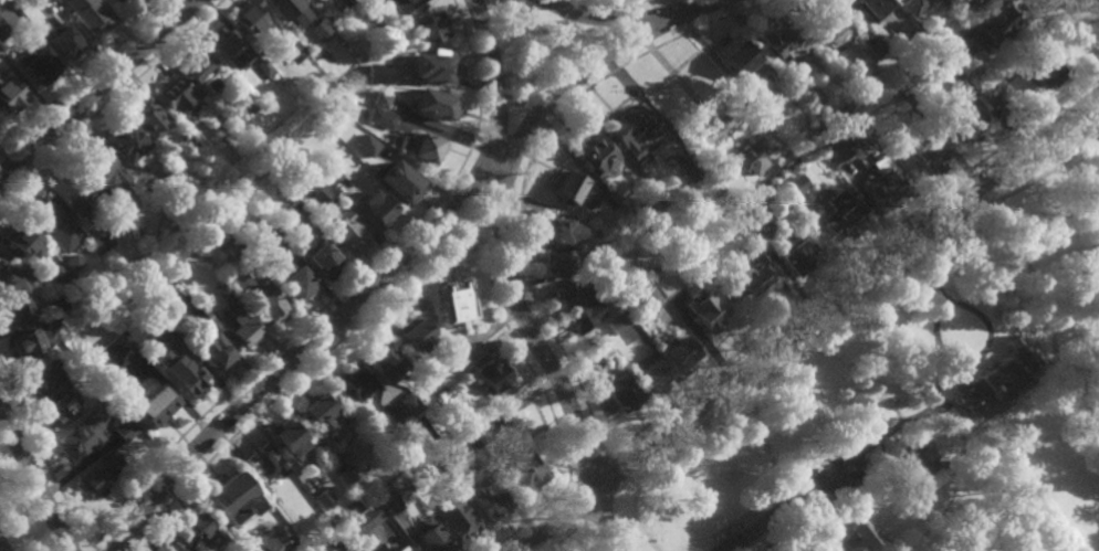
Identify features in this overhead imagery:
building: (954, 0)
building: (41, 1)
building: (130, 2)
road: (625, 2)
building: (966, 2)
road: (1095, 3)
building: (402, 4)
building: (374, 6)
road: (636, 7)
building: (912, 7)
building: (868, 8)
building: (290, 10)
building: (87, 14)
road: (615, 20)
building: (827, 22)
building: (253, 23)
road: (1077, 24)
building: (428, 28)
road: (638, 28)
building: (994, 28)
building: (3, 29)
building: (321, 29)
building: (904, 30)
building: (373, 38)
building: (784, 40)
building: (64, 42)
building: (226, 46)
road: (649, 46)
building: (876, 49)
building: (951, 50)
building: (969, 51)
building: (1, 52)
building: (294, 52)
building: (736, 57)
building: (35, 64)
building: (431, 66)
building: (265, 67)
building: (1040, 67)
building: (935, 71)
building: (200, 73)
building: (377, 73)
road: (84, 76)
road: (679, 82)
road: (96, 88)
building: (985, 92)
building: (10, 95)
building: (176, 96)
building: (900, 96)
building: (812, 97)
building: (381, 99)
road: (111, 102)
building: (755, 102)
building: (247, 103)
building: (432, 104)
building: (1045, 104)
building: (381, 117)
building: (150, 118)
building: (216, 118)
building: (964, 124)
building: (631, 129)
building: (123, 140)
building: (188, 142)
building: (698, 144)
building: (375, 146)
building: (419, 147)
building: (836, 149)
building: (593, 152)
building: (924, 152)
building: (747, 158)
building: (787, 161)
road: (527, 166)
building: (690, 168)
building: (103, 169)
building: (254, 174)
building: (332, 176)
road: (969, 184)
building: (400, 186)
building: (883, 186)
building: (793, 187)
road: (452, 188)
building: (564, 188)
building: (758, 188)
building: (71, 191)
road: (462, 199)
building: (119, 205)
building: (376, 209)
building: (641, 212)
building: (300, 215)
road: (488, 215)
road: (501, 215)
road: (514, 215)
building: (751, 218)
building: (841, 218)
building: (53, 223)
building: (338, 223)
building: (557, 232)
building: (289, 234)
building: (603, 237)
road: (946, 237)
building: (103, 240)
building: (21, 241)
building: (274, 242)
building: (757, 257)
building: (323, 258)
building: (794, 258)
road: (851, 259)
road: (407, 261)
building: (74, 263)
building: (556, 264)
building: (60, 273)
building: (613, 274)
building: (13, 279)
building: (50, 280)
building: (295, 283)
building: (749, 283)
road: (510, 284)
building: (664, 285)
building: (221, 290)
building: (620, 290)
road: (846, 292)
building: (571, 293)
road: (331, 298)
building: (649, 298)
building: (261, 300)
building: (59, 303)
building: (451, 304)
building: (177, 308)
building: (18, 312)
building: (169, 312)
building: (706, 312)
building: (584, 317)
building: (57, 319)
building: (617, 324)
building: (238, 329)
road: (1035, 333)
building: (411, 335)
building: (903, 335)
building: (166, 336)
building: (30, 342)
road: (1053, 342)
road: (514, 343)
building: (597, 347)
building: (111, 351)
building: (457, 353)
building: (216, 354)
building: (676, 356)
road: (975, 358)
road: (1039, 359)
building: (383, 361)
road: (980, 362)
building: (178, 372)
road: (300, 374)
building: (491, 377)
building: (993, 378)
building: (45, 379)
building: (650, 379)
building: (355, 384)
building: (438, 391)
building: (618, 394)
road: (1006, 398)
park: (918, 402)
road: (948, 402)
building: (888, 403)
road: (960, 404)
building: (407, 405)
building: (151, 409)
building: (61, 412)
building: (391, 413)
road: (919, 413)
building: (873, 416)
building: (320, 417)
road: (940, 422)
building: (125, 430)
building: (85, 435)
building: (866, 436)
building: (471, 442)
building: (287, 443)
building: (452, 452)
road: (605, 453)
building: (984, 454)
road: (44, 456)
building: (922, 457)
road: (962, 460)
building: (264, 464)
building: (430, 467)
parking lot: (833, 468)
building: (521, 470)
road: (589, 471)
building: (348, 476)
road: (954, 476)
building: (96, 478)
road: (31, 481)
road: (572, 485)
building: (323, 495)
building: (233, 496)
building: (484, 497)
building: (387, 501)
road: (791, 502)
road: (579, 504)
road: (996, 506)
road: (859, 508)
road: (856, 515)
building: (454, 517)
road: (528, 518)
building: (364, 519)
road: (557, 520)
road: (582, 524)
road: (842, 526)
building: (200, 528)
road: (820, 530)
building: (862, 534)
building: (430, 536)
road: (564, 538)
road: (589, 538)
building: (338, 540)
building: (175, 543)
road: (1, 547)
building: (296, 547)
building: (400, 547)
road: (73, 549)
building: (285, 549)

